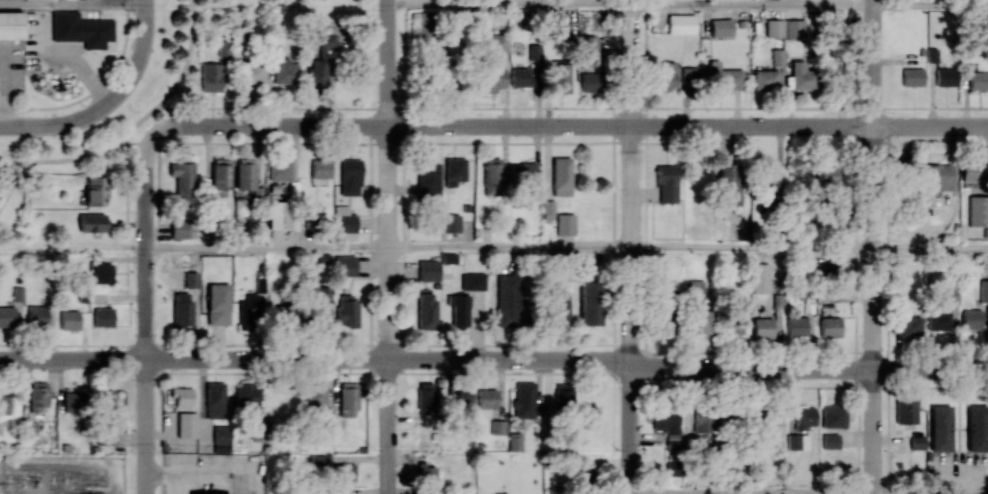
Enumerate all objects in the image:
road: (509, 1)
road: (72, 2)
road: (751, 2)
road: (930, 3)
building: (488, 22)
building: (11, 24)
building: (681, 24)
building: (424, 27)
building: (774, 27)
building: (81, 28)
building: (721, 28)
building: (794, 29)
building: (496, 42)
building: (589, 47)
building: (533, 51)
road: (139, 56)
building: (320, 64)
building: (252, 71)
building: (284, 72)
building: (666, 74)
building: (688, 75)
building: (801, 76)
building: (912, 76)
building: (945, 76)
building: (210, 77)
building: (520, 77)
building: (560, 77)
building: (839, 78)
building: (494, 79)
building: (725, 79)
building: (764, 79)
building: (978, 80)
road: (177, 81)
road: (94, 82)
building: (590, 82)
road: (95, 89)
road: (6, 92)
road: (571, 108)
road: (56, 123)
road: (390, 125)
road: (809, 125)
road: (132, 142)
road: (56, 159)
park: (43, 167)
building: (320, 168)
building: (279, 170)
building: (452, 171)
building: (521, 171)
building: (973, 171)
building: (220, 173)
building: (246, 175)
building: (182, 176)
building: (491, 176)
building: (561, 176)
building: (767, 176)
building: (350, 177)
building: (936, 177)
building: (427, 178)
building: (827, 179)
building: (666, 183)
building: (728, 183)
building: (94, 190)
building: (548, 209)
building: (977, 210)
building: (278, 214)
building: (343, 219)
building: (91, 222)
building: (450, 223)
building: (565, 224)
building: (179, 229)
road: (387, 246)
road: (872, 246)
road: (72, 247)
road: (266, 247)
road: (509, 247)
road: (631, 247)
road: (752, 247)
road: (930, 248)
building: (448, 258)
building: (323, 260)
building: (344, 265)
building: (428, 270)
building: (102, 273)
building: (759, 278)
building: (190, 279)
building: (472, 281)
building: (693, 289)
building: (983, 289)
building: (17, 293)
building: (509, 299)
building: (589, 303)
building: (217, 304)
building: (559, 308)
building: (181, 309)
building: (458, 310)
building: (426, 311)
building: (248, 312)
building: (347, 312)
road: (144, 313)
building: (7, 316)
building: (36, 316)
building: (284, 316)
building: (102, 317)
building: (69, 319)
building: (971, 319)
building: (939, 320)
building: (701, 323)
building: (796, 325)
building: (906, 325)
building: (830, 326)
building: (762, 327)
road: (316, 359)
road: (809, 368)
building: (315, 394)
building: (563, 394)
building: (38, 395)
building: (182, 396)
building: (425, 398)
building: (486, 398)
building: (105, 399)
building: (247, 399)
building: (348, 399)
building: (524, 399)
building: (215, 400)
building: (73, 402)
building: (4, 404)
building: (459, 404)
building: (905, 410)
building: (833, 415)
building: (771, 417)
building: (804, 417)
building: (701, 421)
building: (186, 424)
building: (977, 427)
building: (668, 428)
building: (940, 428)
building: (257, 433)
building: (104, 437)
building: (221, 437)
building: (830, 440)
building: (514, 441)
building: (797, 441)
building: (917, 442)
building: (317, 459)
building: (672, 468)
building: (344, 473)
building: (426, 473)
road: (221, 474)
road: (166, 476)
road: (609, 479)
road: (644, 493)
road: (752, 493)

